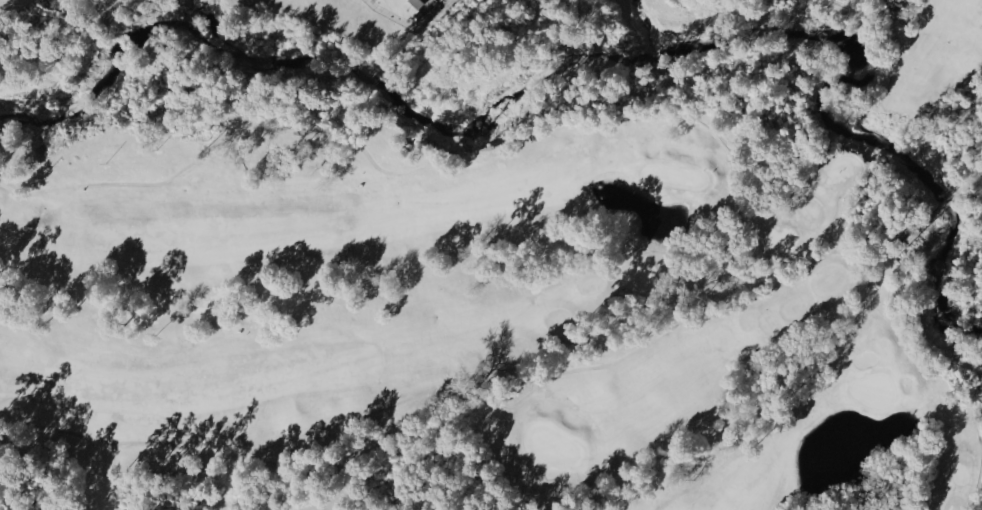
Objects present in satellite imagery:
building: (416, 3)
river: (594, 65)
road: (460, 151)
road: (979, 171)
road: (971, 179)
road: (923, 228)
road: (852, 257)
road: (789, 284)
park: (499, 309)
road: (706, 318)
road: (521, 371)
road: (937, 376)
road: (791, 396)
road: (350, 420)
road: (977, 492)

